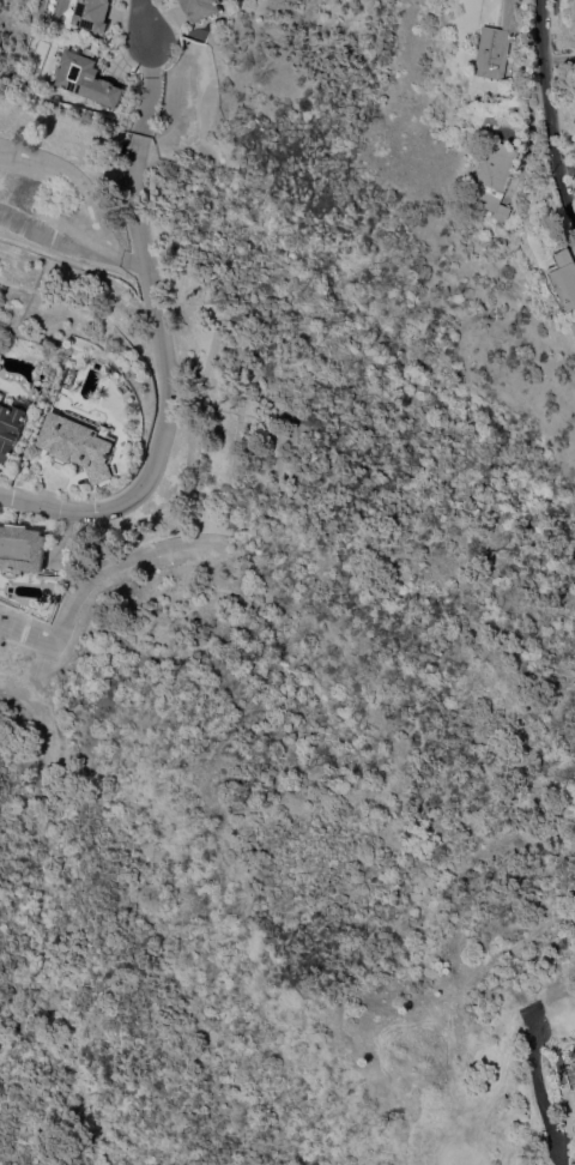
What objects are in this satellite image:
building: (200, 8)
building: (91, 14)
road: (145, 23)
building: (502, 43)
road: (564, 58)
building: (85, 78)
road: (557, 97)
building: (491, 127)
road: (69, 175)
building: (498, 179)
road: (46, 230)
road: (115, 255)
building: (565, 278)
road: (159, 396)
building: (11, 427)
building: (80, 443)
building: (20, 550)
building: (573, 1073)
road: (567, 1134)

